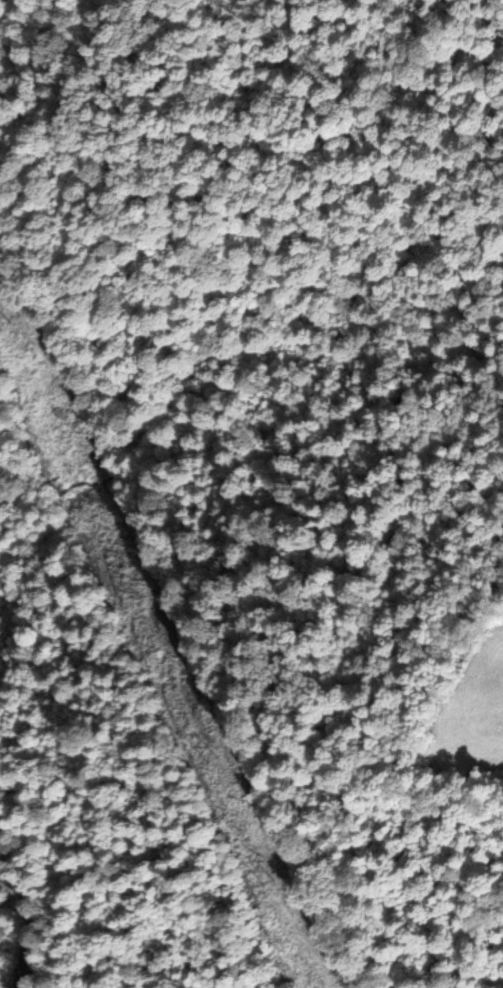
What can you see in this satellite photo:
road: (22, 909)

